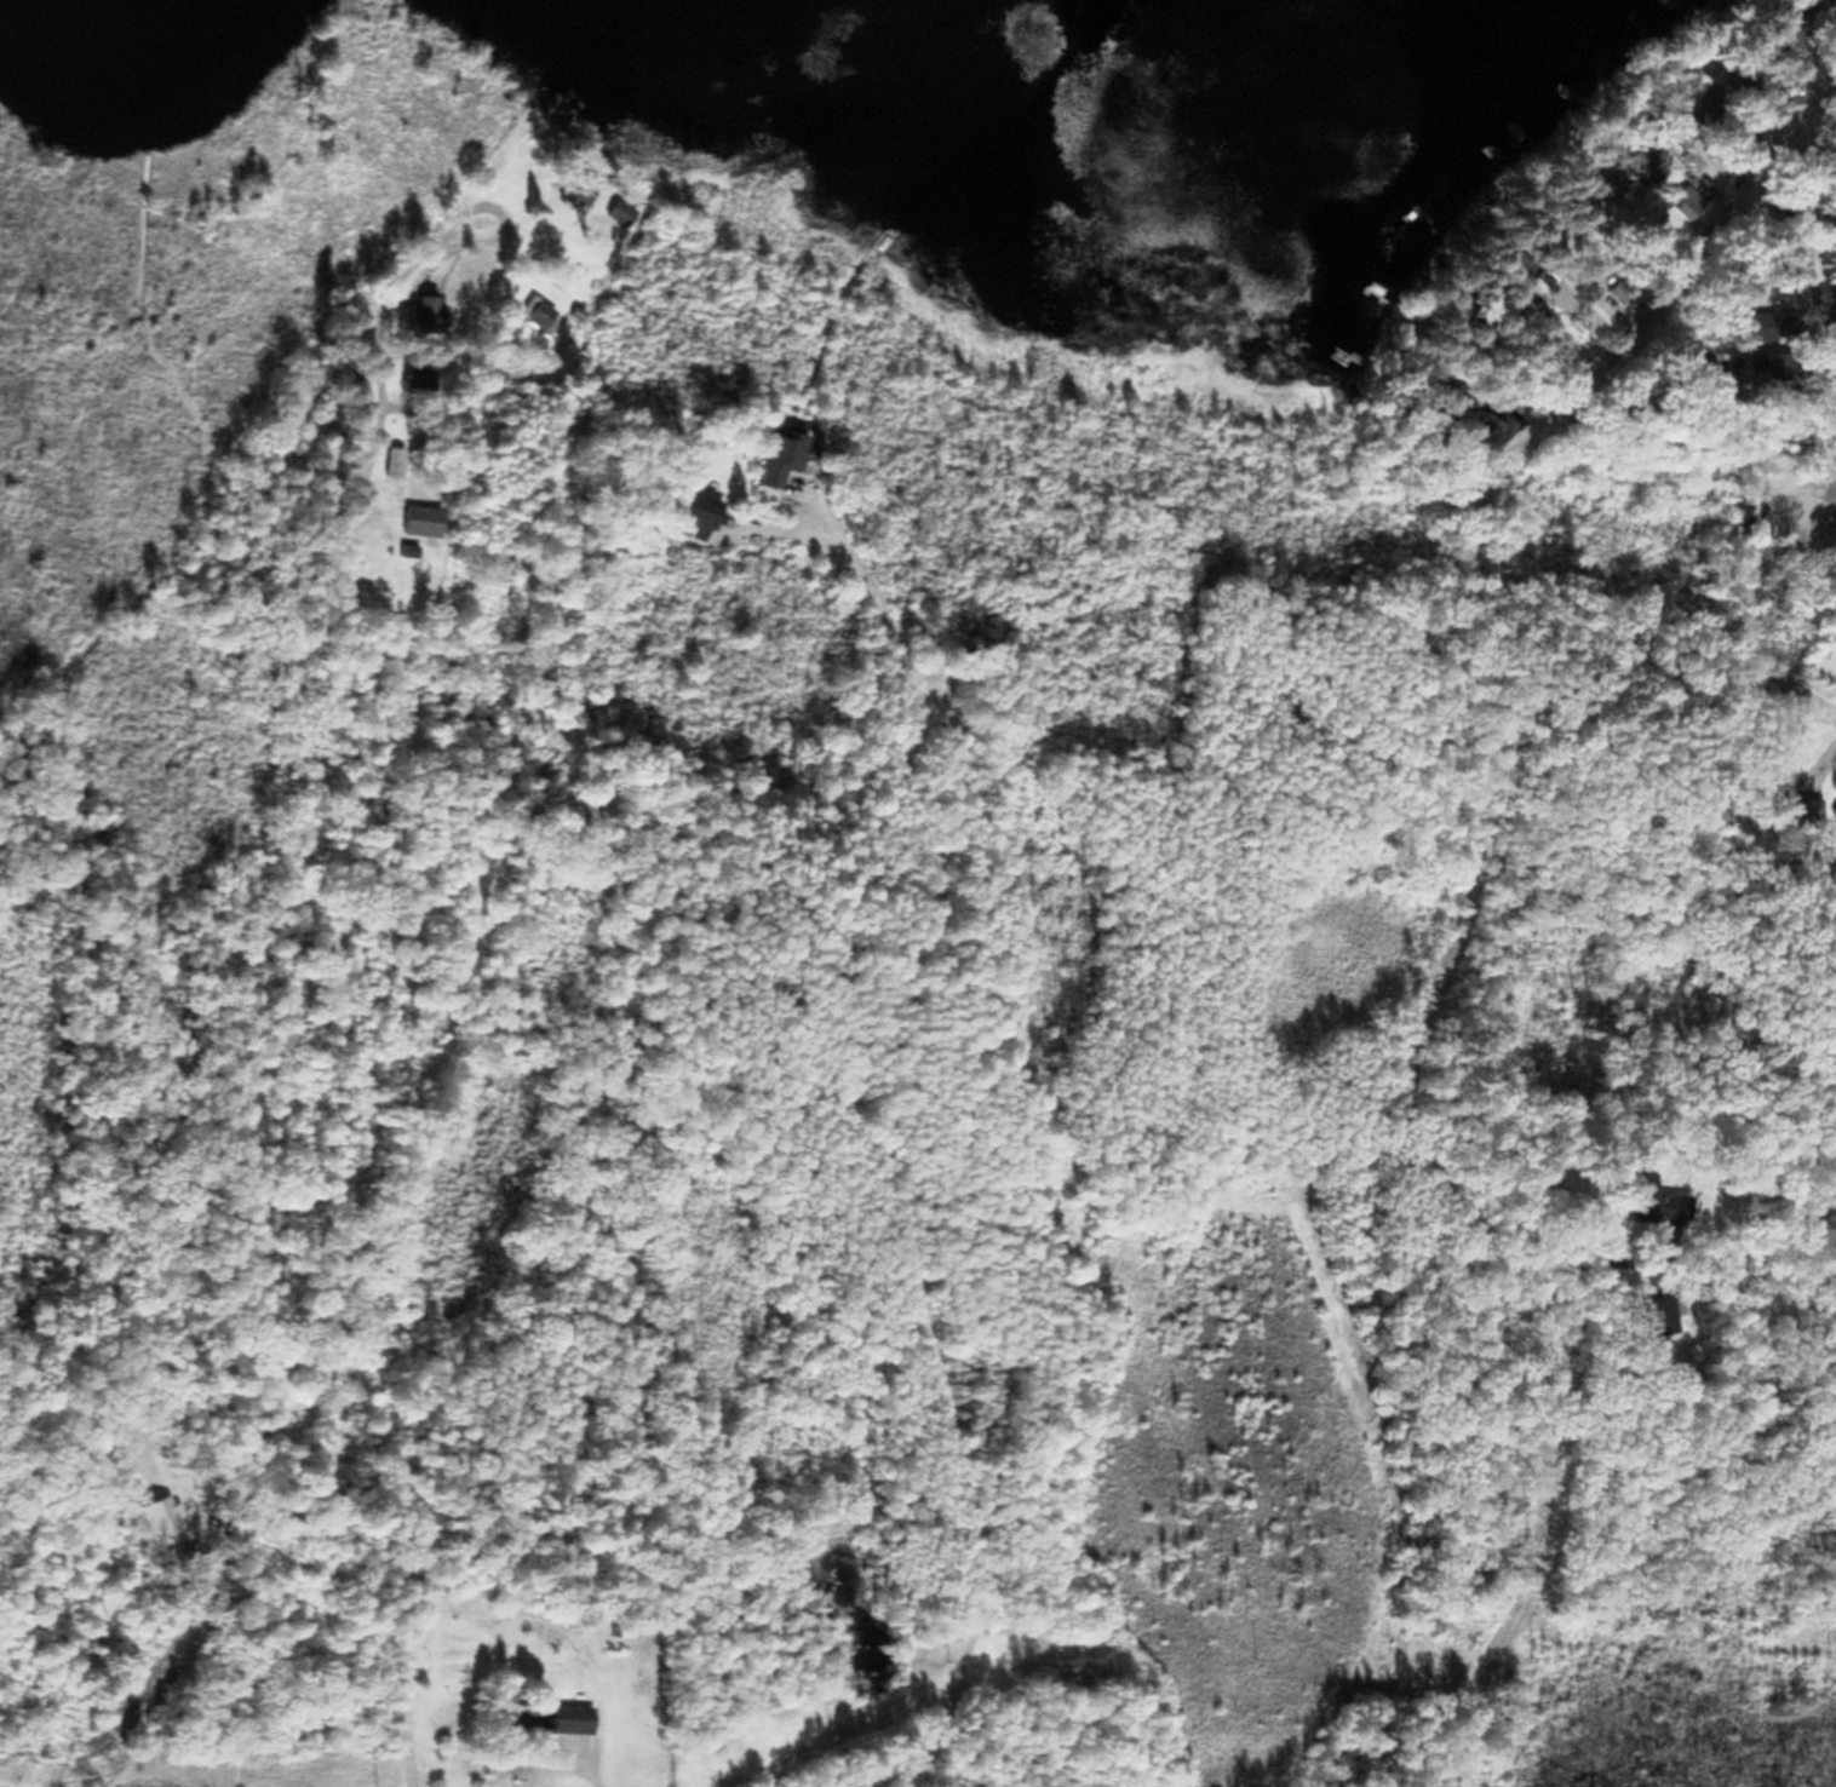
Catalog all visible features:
building: (1673, 134)
building: (1642, 159)
building: (570, 189)
building: (1677, 201)
building: (1566, 208)
building: (1792, 216)
road: (534, 254)
building: (1514, 275)
building: (418, 312)
building: (539, 312)
building: (1549, 363)
building: (1745, 367)
building: (350, 391)
building: (774, 456)
building: (685, 511)
building: (414, 519)
road: (1750, 590)
building: (1823, 662)
building: (1769, 772)
road: (1473, 895)
road: (276, 1105)
building: (1651, 1202)
building: (1654, 1312)
building: (543, 1716)

